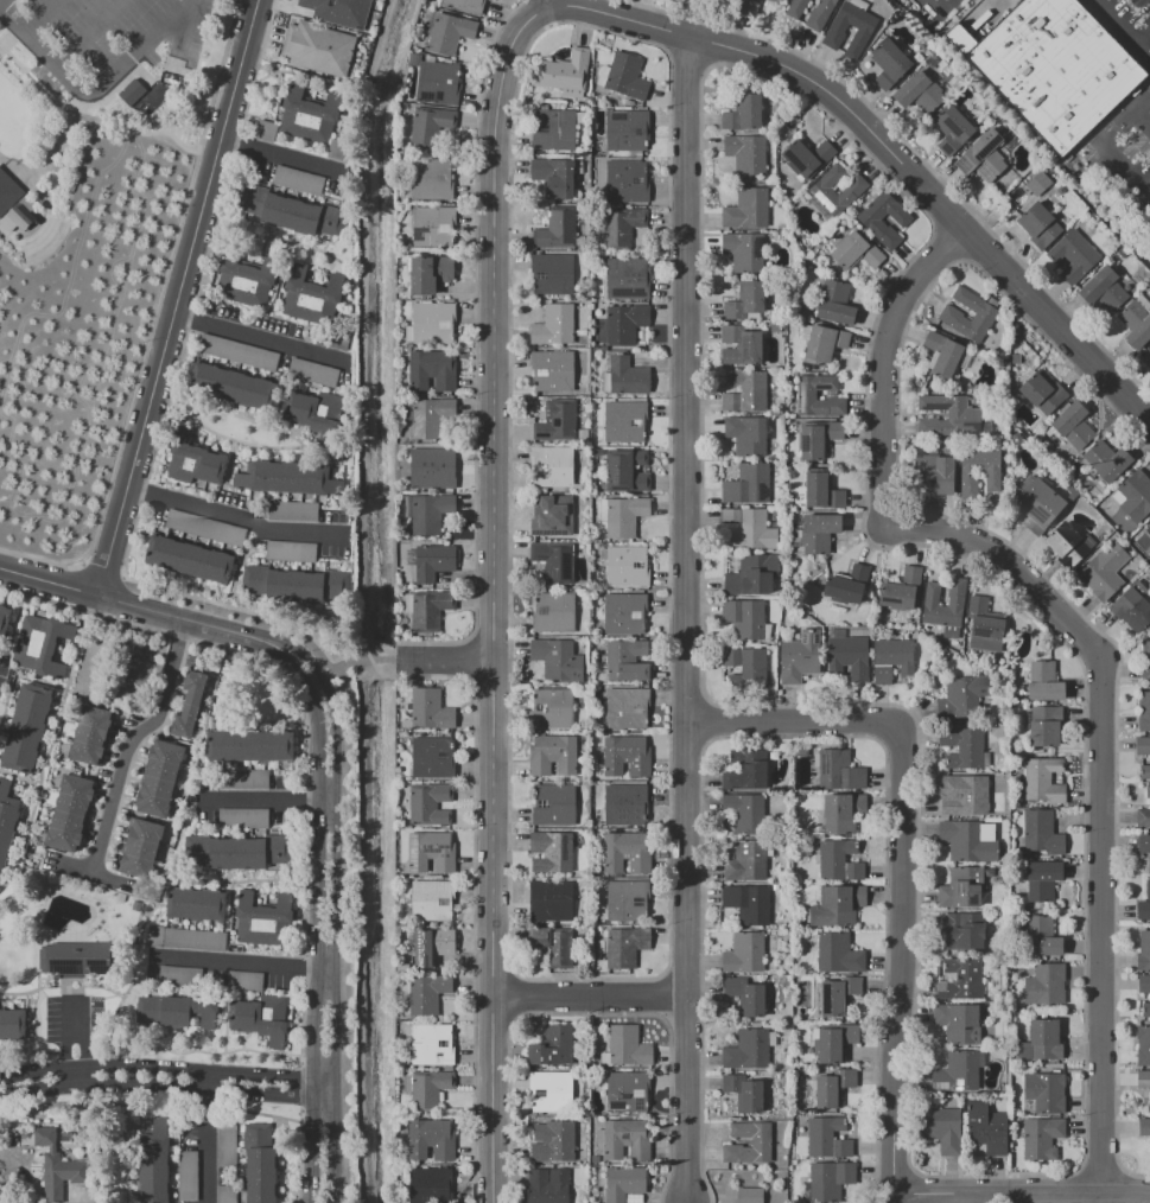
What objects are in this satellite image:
building: (777, 0)
road: (547, 1)
building: (465, 5)
building: (750, 6)
road: (933, 6)
road: (996, 6)
building: (796, 8)
building: (339, 12)
building: (820, 14)
road: (39, 15)
parking lot: (1125, 25)
road: (1119, 31)
road: (88, 32)
building: (449, 33)
building: (834, 36)
road: (9, 37)
road: (1142, 37)
building: (318, 49)
parking lot: (108, 51)
road: (138, 56)
building: (890, 64)
building: (1050, 68)
building: (564, 74)
building: (624, 76)
building: (437, 83)
building: (131, 91)
building: (920, 93)
road: (193, 103)
road: (110, 107)
building: (743, 113)
building: (309, 114)
building: (579, 117)
road: (1142, 117)
building: (431, 125)
building: (266, 129)
building: (553, 129)
building: (625, 129)
building: (952, 129)
road: (1103, 145)
building: (339, 151)
building: (746, 153)
road: (274, 154)
road: (883, 154)
road: (55, 155)
building: (806, 157)
building: (983, 157)
parking lot: (1124, 157)
building: (578, 167)
building: (554, 177)
building: (298, 179)
building: (431, 179)
building: (625, 183)
building: (1037, 183)
building: (821, 190)
building: (14, 205)
building: (748, 209)
building: (291, 211)
building: (1035, 219)
building: (872, 222)
building: (432, 225)
building: (622, 227)
building: (558, 229)
building: (580, 241)
building: (744, 252)
building: (857, 252)
building: (1073, 256)
building: (552, 273)
building: (427, 274)
building: (246, 279)
building: (627, 279)
building: (1103, 289)
building: (311, 295)
road: (173, 297)
building: (746, 300)
building: (836, 303)
building: (951, 314)
building: (1137, 322)
building: (431, 323)
building: (624, 323)
building: (553, 325)
building: (580, 335)
road: (259, 338)
building: (824, 344)
building: (741, 345)
building: (239, 352)
building: (942, 354)
building: (1148, 356)
building: (431, 370)
building: (552, 370)
building: (312, 373)
building: (624, 376)
building: (231, 386)
building: (744, 392)
building: (806, 393)
building: (1042, 393)
building: (313, 412)
building: (948, 415)
building: (431, 416)
building: (557, 421)
building: (622, 422)
building: (1073, 425)
building: (746, 435)
building: (819, 437)
building: (193, 460)
building: (1107, 460)
building: (552, 466)
building: (430, 469)
building: (627, 471)
building: (935, 472)
building: (286, 478)
building: (968, 480)
building: (746, 484)
building: (577, 488)
building: (821, 492)
building: (1133, 496)
building: (1038, 505)
building: (293, 511)
building: (427, 511)
road: (233, 514)
building: (552, 515)
building: (622, 516)
road: (687, 516)
building: (205, 528)
building: (749, 528)
building: (1148, 530)
building: (820, 532)
building: (1061, 539)
building: (578, 550)
building: (291, 552)
building: (603, 554)
building: (189, 559)
building: (432, 561)
building: (554, 561)
building: (627, 566)
building: (1104, 571)
building: (751, 575)
road: (47, 583)
building: (292, 583)
building: (847, 583)
building: (901, 590)
road: (493, 594)
building: (957, 601)
building: (428, 610)
building: (1132, 610)
building: (553, 612)
building: (1, 613)
building: (624, 613)
road: (177, 618)
building: (744, 618)
building: (984, 625)
road: (1085, 638)
road: (389, 643)
building: (40, 644)
road: (297, 647)
building: (849, 654)
building: (800, 656)
road: (447, 657)
building: (892, 658)
road: (286, 660)
building: (558, 660)
building: (627, 660)
road: (333, 661)
building: (1145, 661)
building: (745, 667)
road: (387, 676)
building: (1043, 681)
building: (962, 696)
building: (582, 704)
building: (191, 705)
building: (627, 707)
building: (430, 708)
building: (553, 708)
building: (1144, 711)
road: (792, 723)
building: (1044, 726)
building: (26, 728)
building: (89, 734)
road: (132, 737)
building: (249, 745)
building: (1143, 745)
building: (962, 747)
building: (801, 750)
building: (553, 755)
building: (627, 756)
building: (432, 757)
building: (745, 771)
building: (839, 771)
building: (1146, 771)
building: (159, 777)
building: (243, 779)
building: (1043, 779)
building: (1148, 791)
building: (964, 796)
road: (259, 798)
building: (431, 804)
building: (553, 804)
building: (625, 804)
building: (70, 813)
building: (745, 813)
building: (843, 813)
building: (1143, 817)
building: (6, 819)
building: (243, 819)
building: (1040, 832)
building: (968, 840)
building: (1144, 846)
building: (139, 847)
building: (235, 851)
building: (552, 851)
building: (431, 852)
building: (627, 852)
building: (839, 860)
building: (746, 861)
building: (1042, 879)
building: (775, 886)
building: (961, 887)
building: (432, 899)
building: (551, 902)
building: (624, 902)
building: (195, 903)
building: (748, 903)
building: (1144, 905)
building: (838, 906)
building: (263, 921)
building: (964, 931)
building: (1042, 936)
road: (336, 937)
building: (185, 938)
road: (313, 942)
building: (554, 944)
building: (432, 946)
building: (625, 946)
building: (1143, 951)
building: (744, 953)
building: (838, 953)
building: (75, 957)
road: (234, 962)
road: (902, 965)
building: (786, 968)
building: (179, 976)
building: (961, 979)
building: (246, 981)
building: (1144, 984)
building: (1046, 985)
building: (427, 993)
road: (589, 994)
building: (745, 995)
building: (838, 995)
building: (1146, 1008)
building: (176, 1011)
building: (261, 1018)
building: (959, 1023)
building: (12, 1024)
road: (68, 1033)
building: (834, 1042)
building: (1042, 1042)
building: (432, 1044)
building: (553, 1045)
building: (1143, 1045)
building: (625, 1046)
building: (749, 1050)
road: (37, 1063)
road: (205, 1067)
building: (957, 1072)
building: (1143, 1078)
road: (38, 1084)
road: (208, 1086)
building: (833, 1087)
building: (425, 1088)
building: (627, 1090)
building: (552, 1091)
building: (743, 1091)
building: (1046, 1093)
road: (687, 1099)
building: (986, 1127)
building: (1144, 1127)
building: (942, 1128)
building: (1041, 1137)
building: (628, 1138)
building: (827, 1138)
building: (430, 1139)
building: (761, 1140)
building: (227, 1141)
building: (554, 1141)
road: (205, 1144)
building: (596, 1159)
building: (259, 1163)
building: (154, 1164)
building: (57, 1167)
building: (188, 1176)
building: (831, 1179)
building: (622, 1182)
building: (428, 1184)
building: (551, 1186)
road: (1021, 1192)
building: (227, 1194)
building: (749, 1195)

